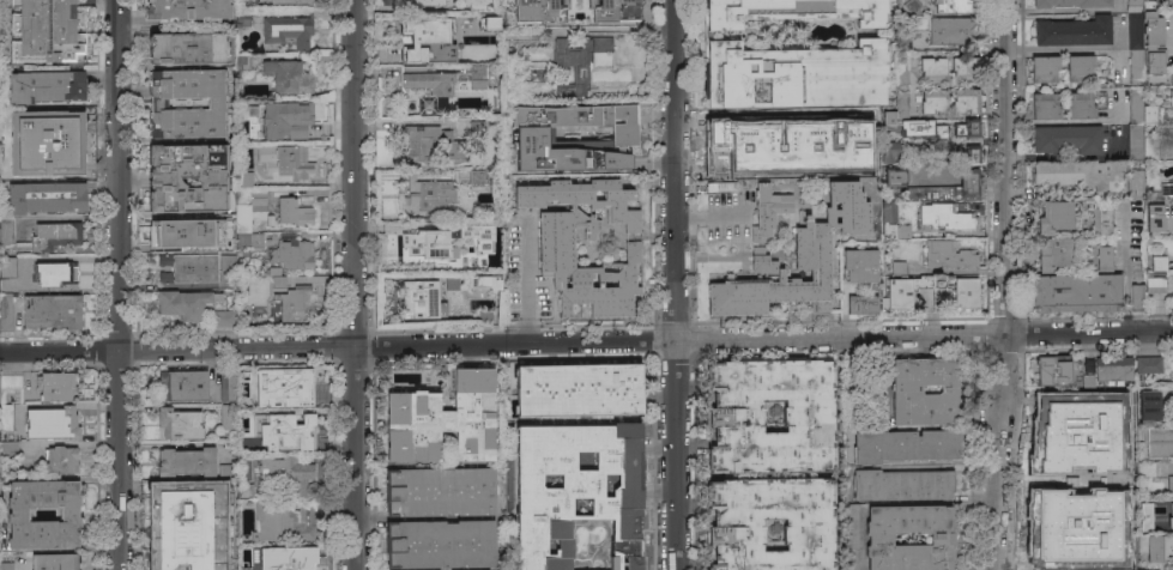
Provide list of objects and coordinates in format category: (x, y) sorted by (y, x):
building: (1171, 0)
building: (248, 1)
building: (294, 2)
building: (425, 2)
building: (1071, 2)
building: (479, 5)
building: (1133, 5)
building: (912, 6)
building: (954, 6)
building: (185, 10)
building: (576, 11)
building: (791, 11)
building: (242, 18)
building: (459, 18)
building: (46, 30)
building: (288, 30)
road: (616, 30)
building: (950, 30)
building: (1133, 30)
building: (1153, 30)
building: (1074, 31)
building: (419, 37)
building: (902, 41)
building: (601, 44)
building: (187, 47)
road: (1058, 50)
building: (485, 51)
building: (570, 59)
building: (1151, 59)
building: (1135, 66)
building: (901, 68)
building: (1044, 68)
building: (1078, 68)
building: (932, 69)
building: (962, 69)
building: (793, 75)
building: (288, 77)
building: (477, 77)
building: (47, 86)
building: (433, 87)
building: (1171, 99)
building: (933, 102)
building: (965, 102)
building: (158, 104)
building: (1044, 105)
building: (1080, 105)
building: (1143, 109)
building: (278, 119)
building: (56, 120)
road: (1065, 121)
building: (909, 122)
building: (477, 128)
building: (966, 129)
building: (12, 133)
building: (531, 134)
building: (1069, 138)
building: (1141, 144)
building: (418, 146)
building: (889, 151)
building: (969, 154)
building: (772, 160)
building: (18, 162)
building: (284, 162)
building: (60, 163)
building: (1077, 174)
building: (476, 176)
building: (894, 176)
building: (164, 177)
building: (243, 178)
building: (1135, 183)
building: (719, 186)
building: (947, 189)
building: (1165, 189)
building: (428, 194)
building: (46, 196)
building: (248, 207)
building: (291, 210)
building: (888, 211)
road: (707, 213)
building: (768, 213)
building: (1099, 214)
building: (945, 217)
building: (1054, 217)
building: (1155, 218)
road: (66, 219)
building: (6, 230)
building: (186, 232)
building: (478, 232)
building: (55, 235)
building: (248, 239)
building: (425, 242)
building: (556, 251)
building: (292, 254)
building: (1054, 254)
building: (948, 255)
road: (69, 257)
building: (1104, 259)
building: (797, 260)
building: (8, 262)
building: (228, 262)
building: (1159, 263)
building: (859, 266)
building: (189, 268)
building: (270, 272)
building: (55, 273)
road: (526, 278)
building: (485, 281)
road: (120, 284)
road: (675, 284)
building: (1155, 284)
road: (351, 285)
road: (1008, 285)
building: (960, 291)
building: (1075, 293)
building: (889, 295)
building: (1136, 297)
building: (1172, 298)
building: (292, 299)
building: (418, 299)
building: (185, 303)
building: (6, 310)
building: (52, 311)
building: (222, 317)
road: (586, 342)
building: (1150, 364)
building: (1112, 369)
building: (1052, 370)
building: (1172, 376)
building: (861, 382)
building: (11, 384)
building: (182, 384)
building: (225, 384)
building: (56, 386)
building: (284, 387)
building: (578, 389)
building: (906, 392)
building: (1118, 405)
building: (1148, 405)
building: (1064, 407)
building: (6, 417)
building: (228, 417)
building: (736, 417)
building: (443, 420)
building: (50, 423)
building: (179, 423)
building: (284, 431)
building: (1159, 442)
building: (1059, 443)
building: (1113, 443)
building: (906, 445)
building: (8, 449)
building: (61, 460)
building: (186, 461)
building: (224, 471)
building: (285, 474)
building: (1041, 479)
building: (901, 485)
building: (1169, 485)
building: (573, 487)
building: (1126, 487)
building: (244, 490)
building: (441, 492)
building: (192, 496)
building: (18, 514)
building: (1041, 516)
building: (1143, 516)
building: (1169, 516)
building: (283, 522)
building: (809, 522)
building: (1127, 522)
building: (193, 532)
building: (851, 536)
building: (881, 540)
building: (1109, 542)
building: (441, 544)
building: (1030, 544)
building: (1057, 544)
building: (1083, 544)
building: (1149, 546)
building: (248, 551)
building: (290, 559)
building: (54, 560)
building: (1126, 560)
building: (612, 562)
building: (5, 563)
road: (25, 563)
building: (187, 563)
building: (634, 563)
building: (1030, 564)
building: (1058, 564)
building: (1083, 564)
building: (228, 566)
building: (1167, 566)

